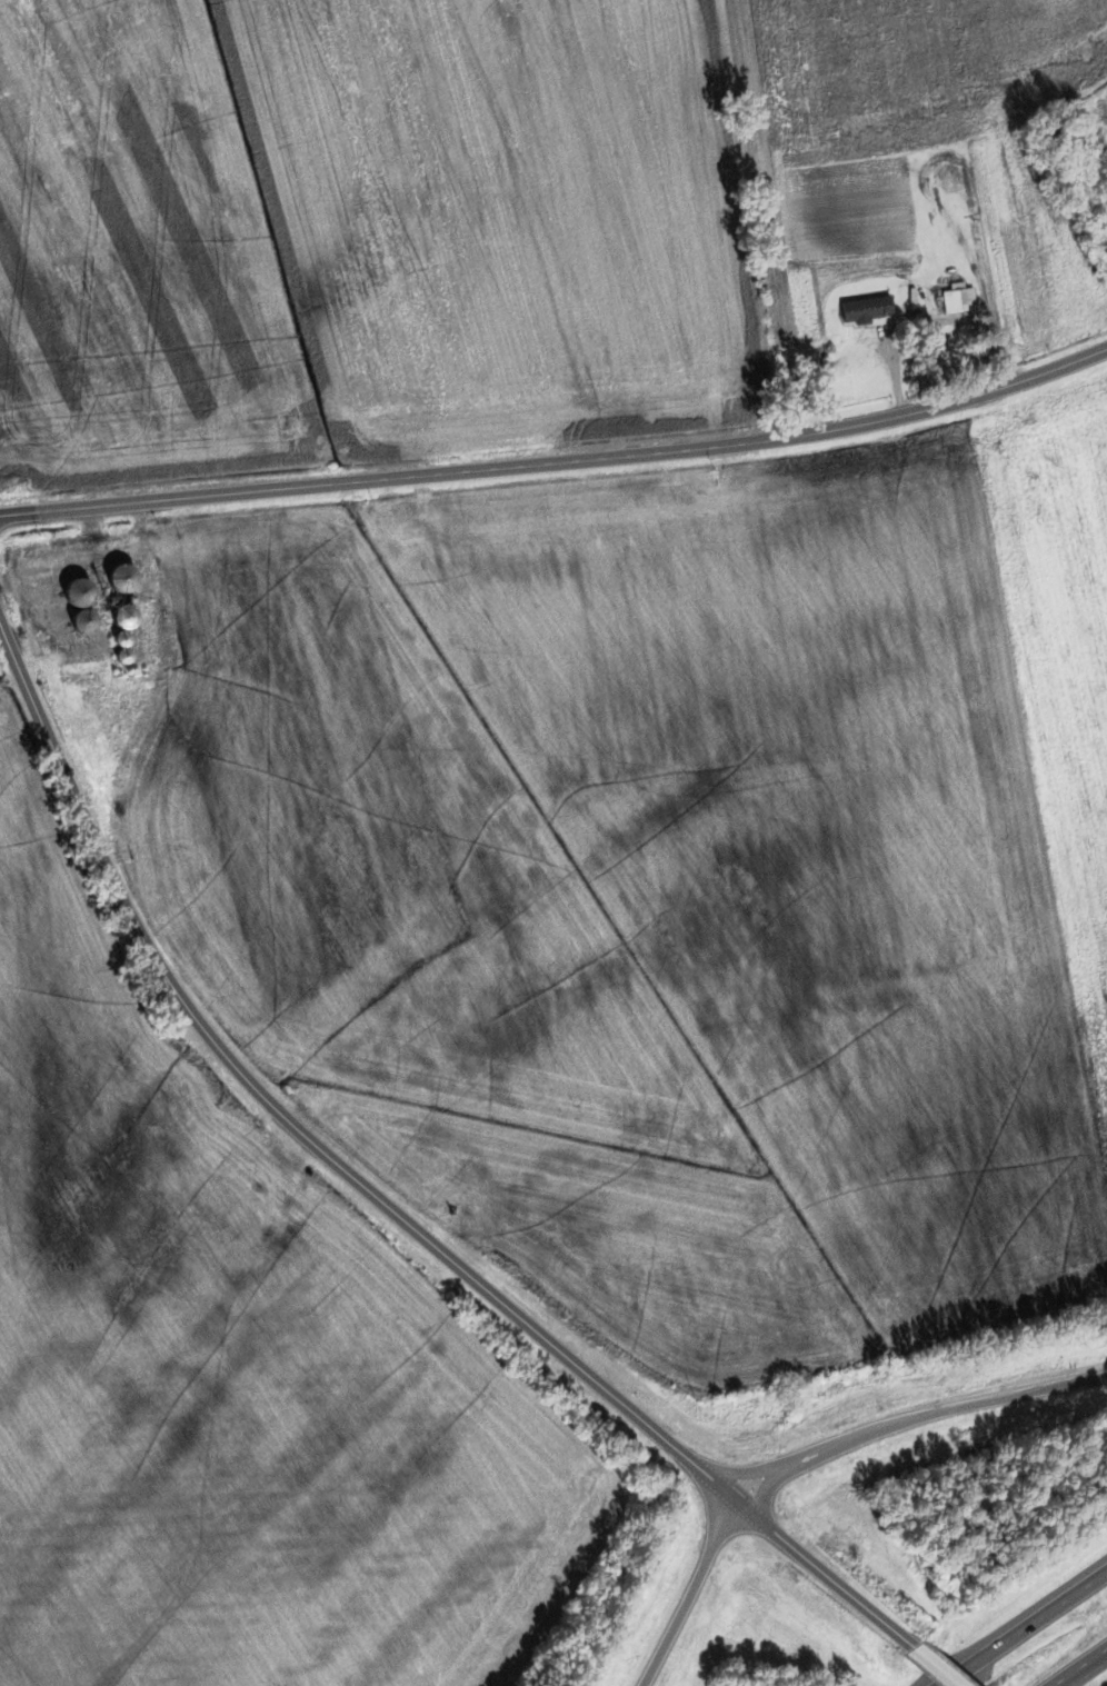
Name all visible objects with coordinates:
building: (935, 206)
building: (955, 300)
building: (866, 309)
road: (559, 461)
building: (120, 579)
building: (78, 605)
building: (122, 623)
road: (291, 1124)
road: (916, 1421)
road: (828, 1578)
road: (690, 1594)
road: (1036, 1634)
road: (937, 1669)
road: (1088, 1674)

